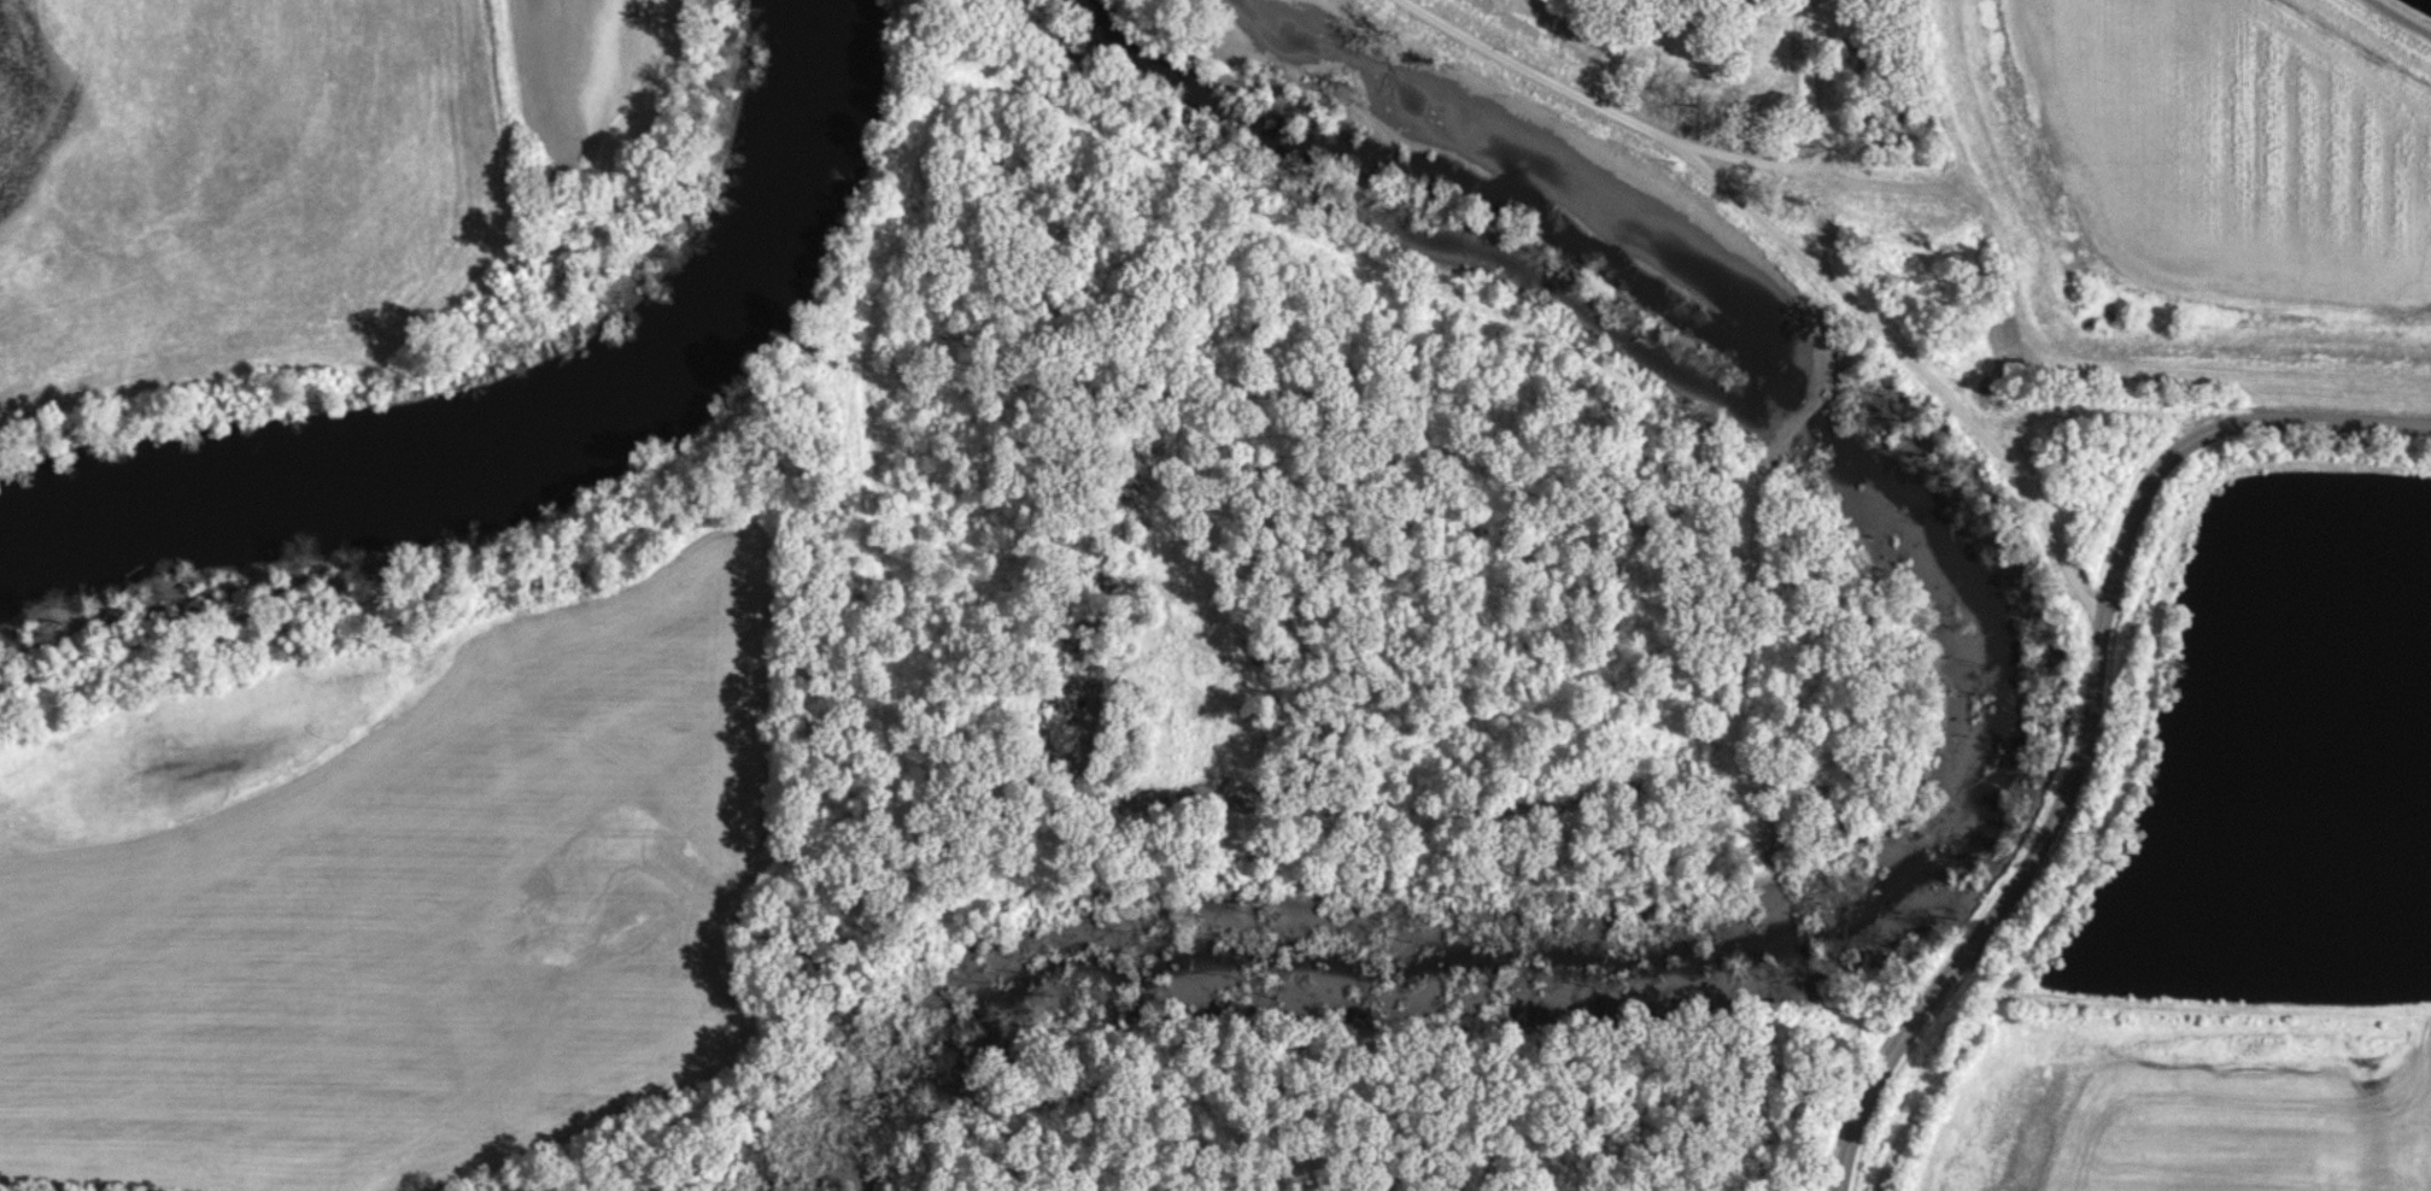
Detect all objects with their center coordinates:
road: (1797, 265)
road: (2343, 422)
road: (2064, 798)

